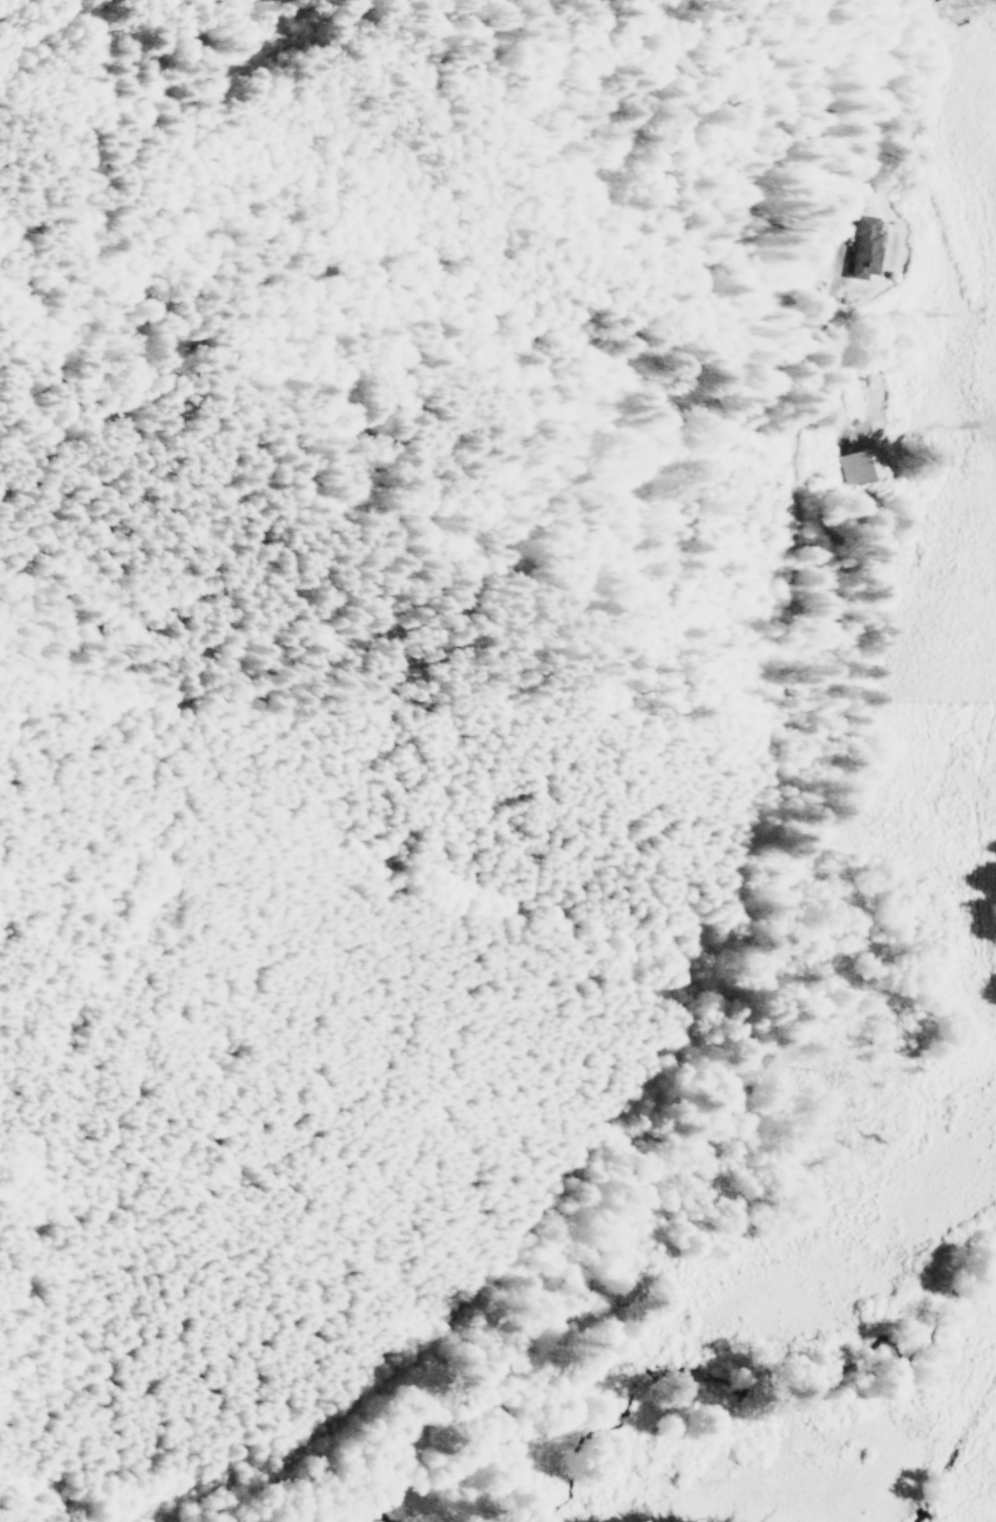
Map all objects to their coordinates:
building: (861, 233)
road: (174, 317)
building: (859, 463)
crop: (939, 600)

